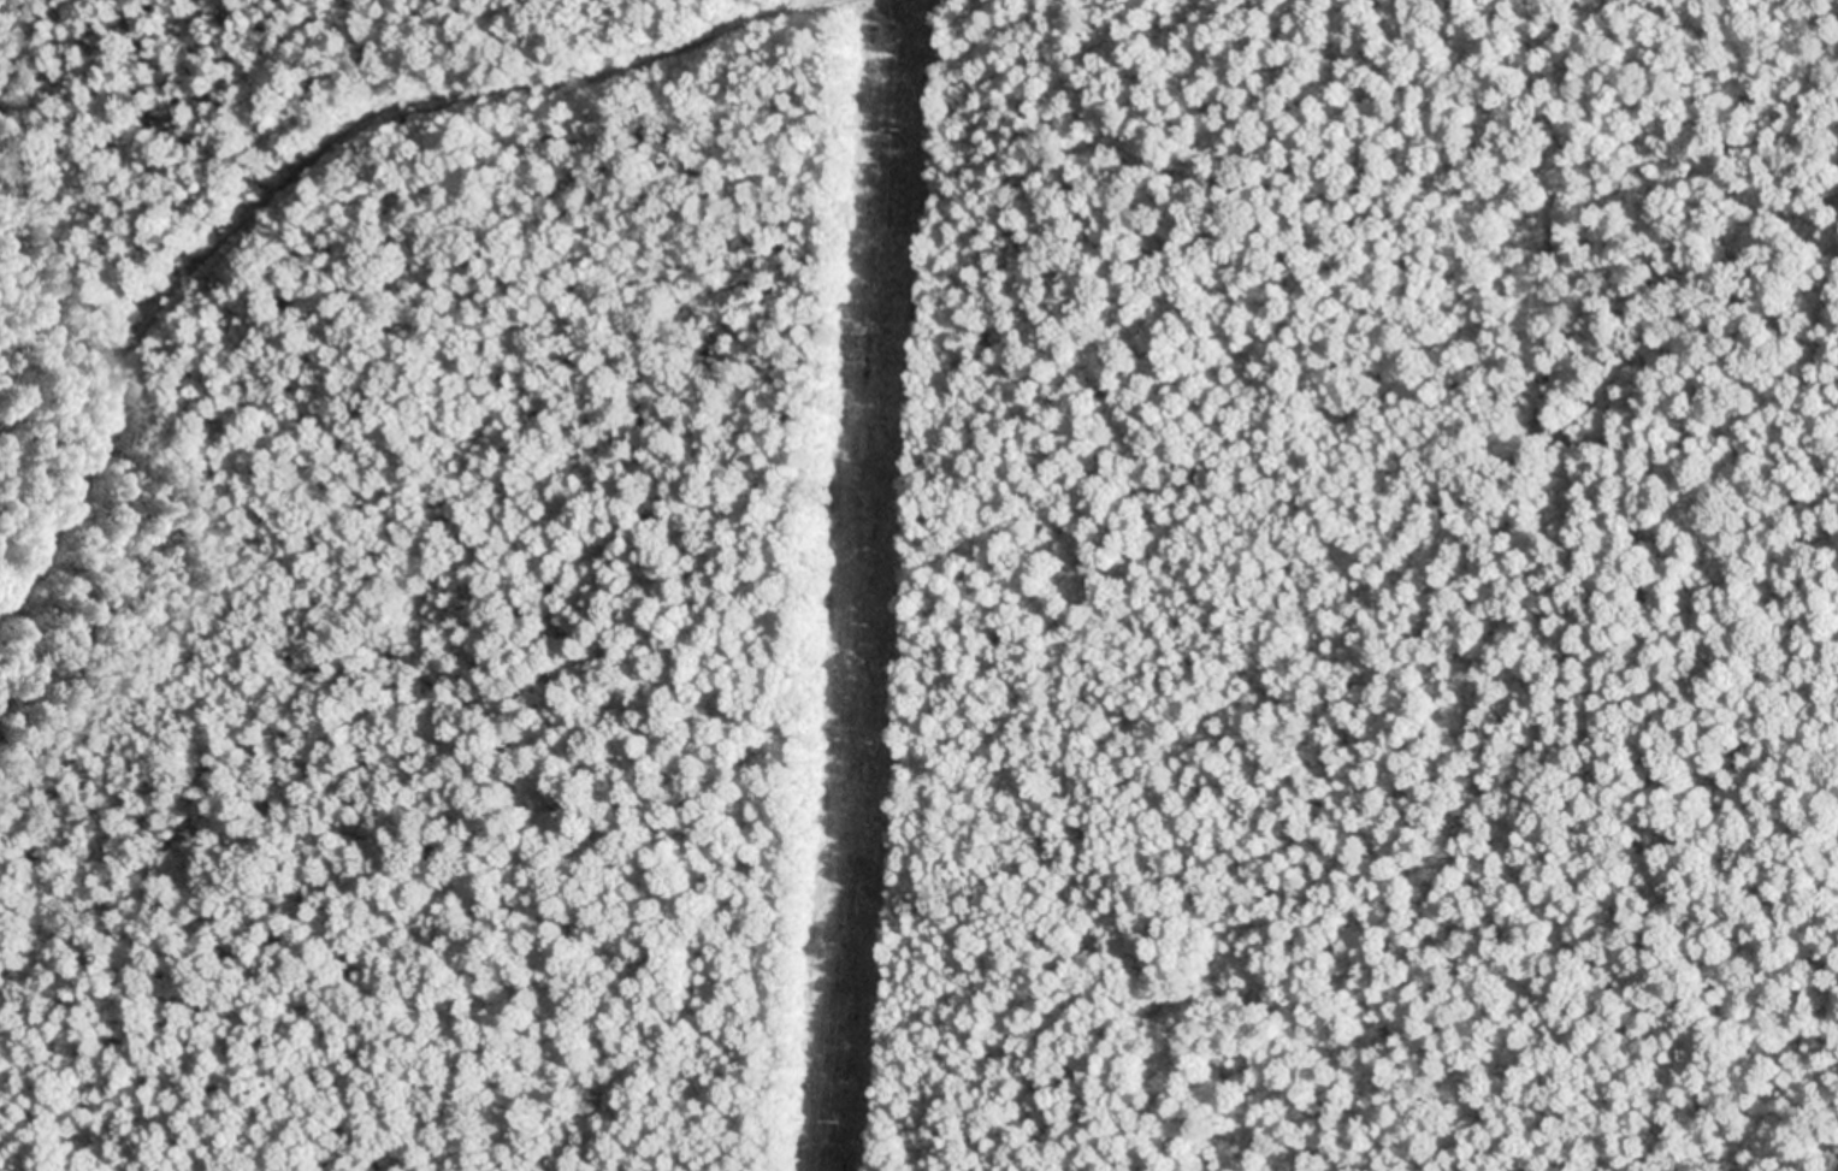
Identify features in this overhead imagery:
power tower: (903, 132)
power tower: (875, 627)
power tower: (846, 1126)

